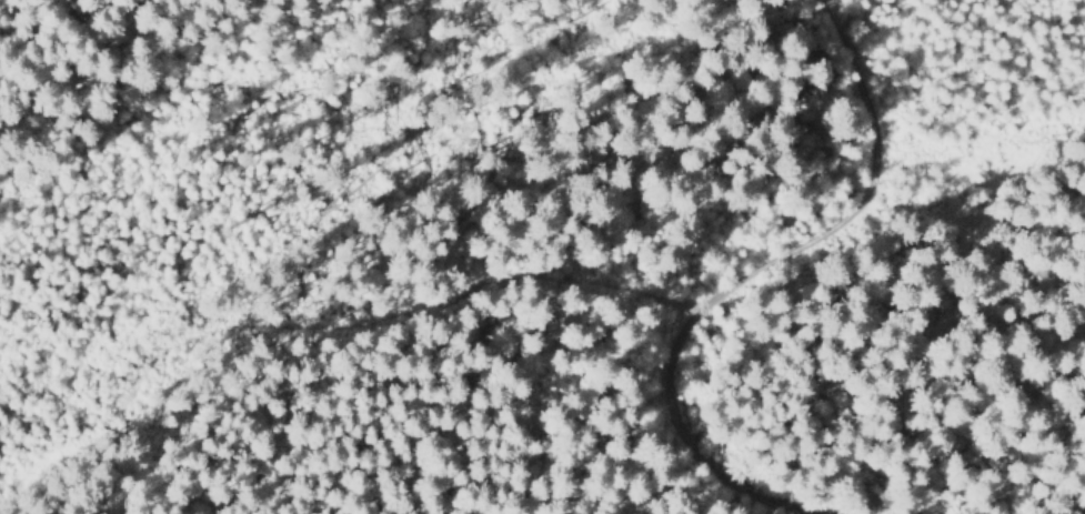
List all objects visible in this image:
road: (752, 271)

